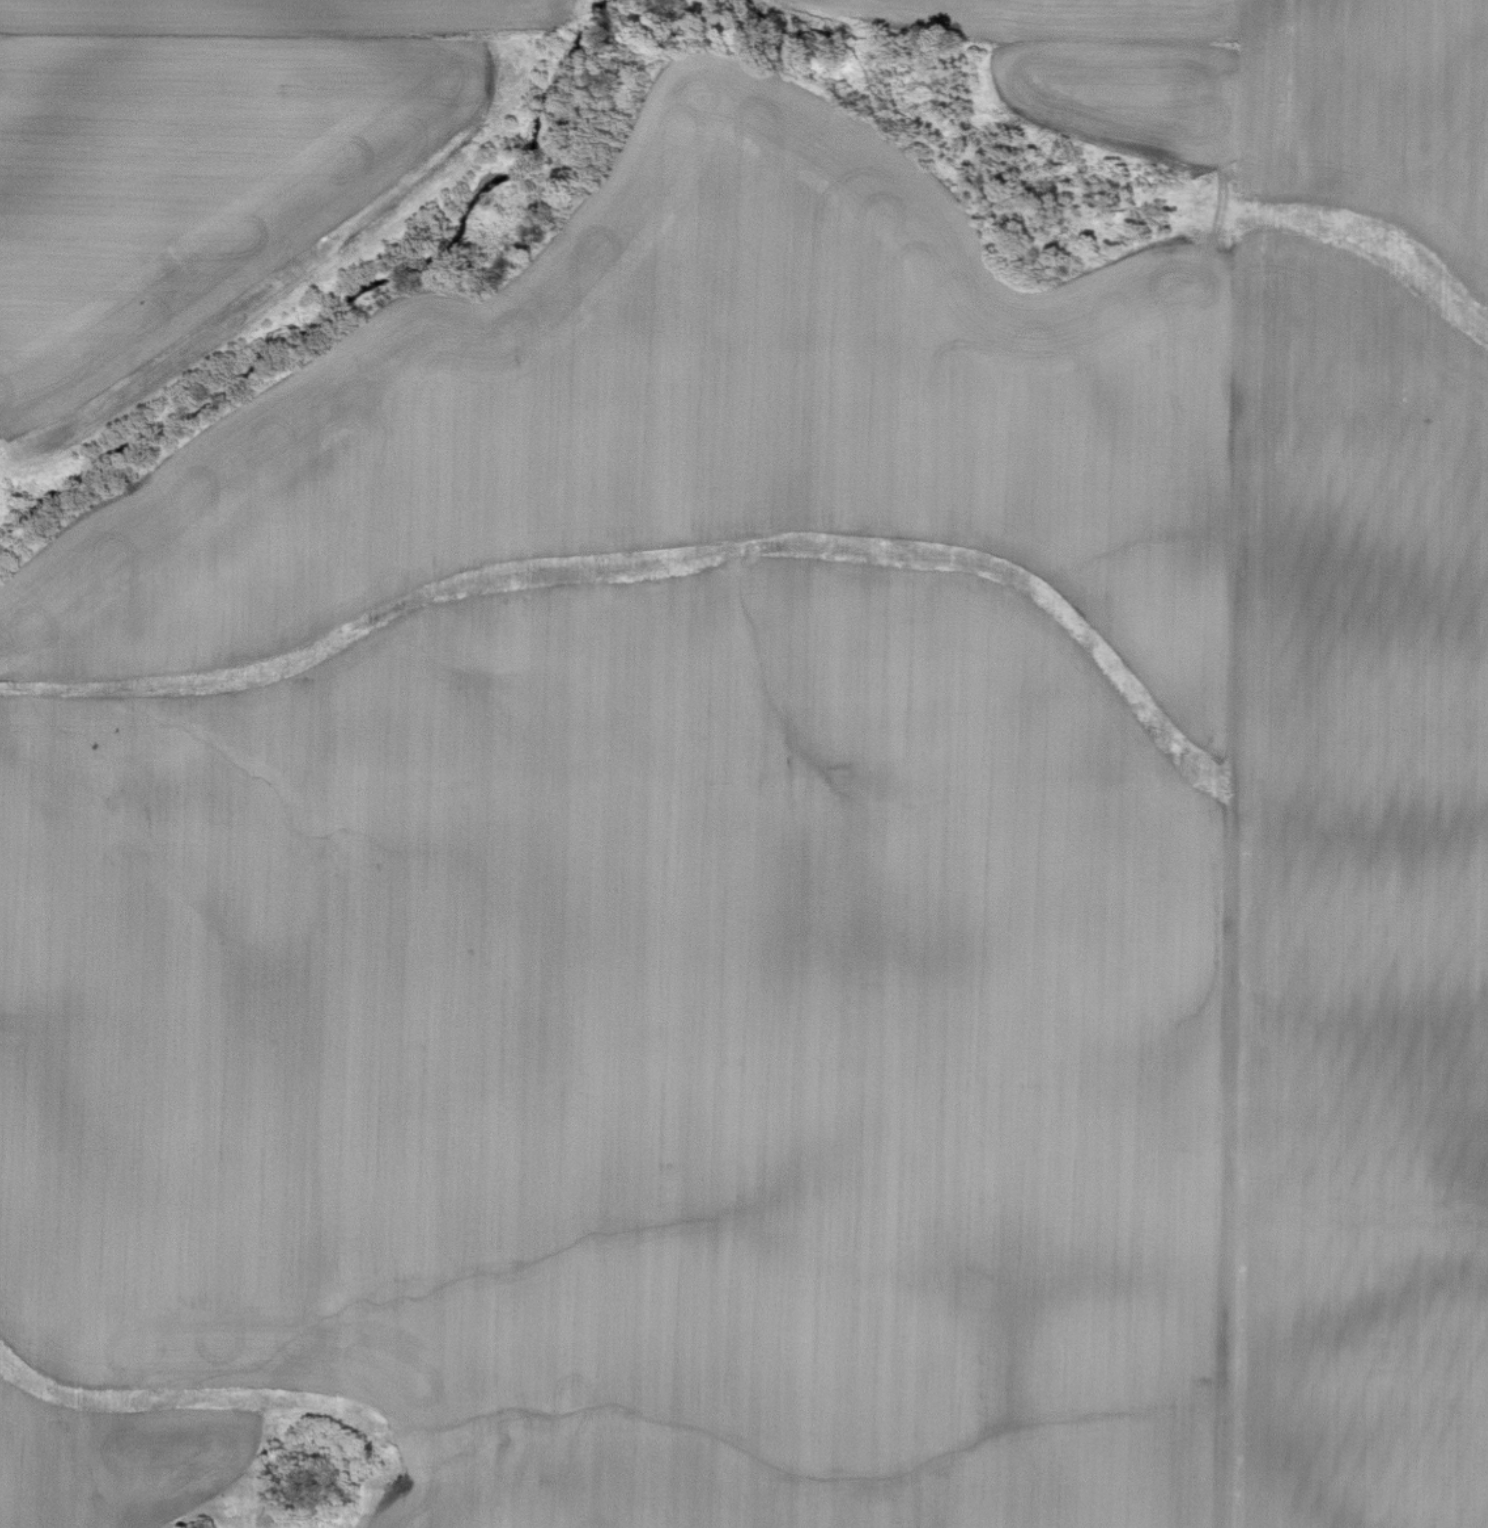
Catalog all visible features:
road: (1231, 1133)

